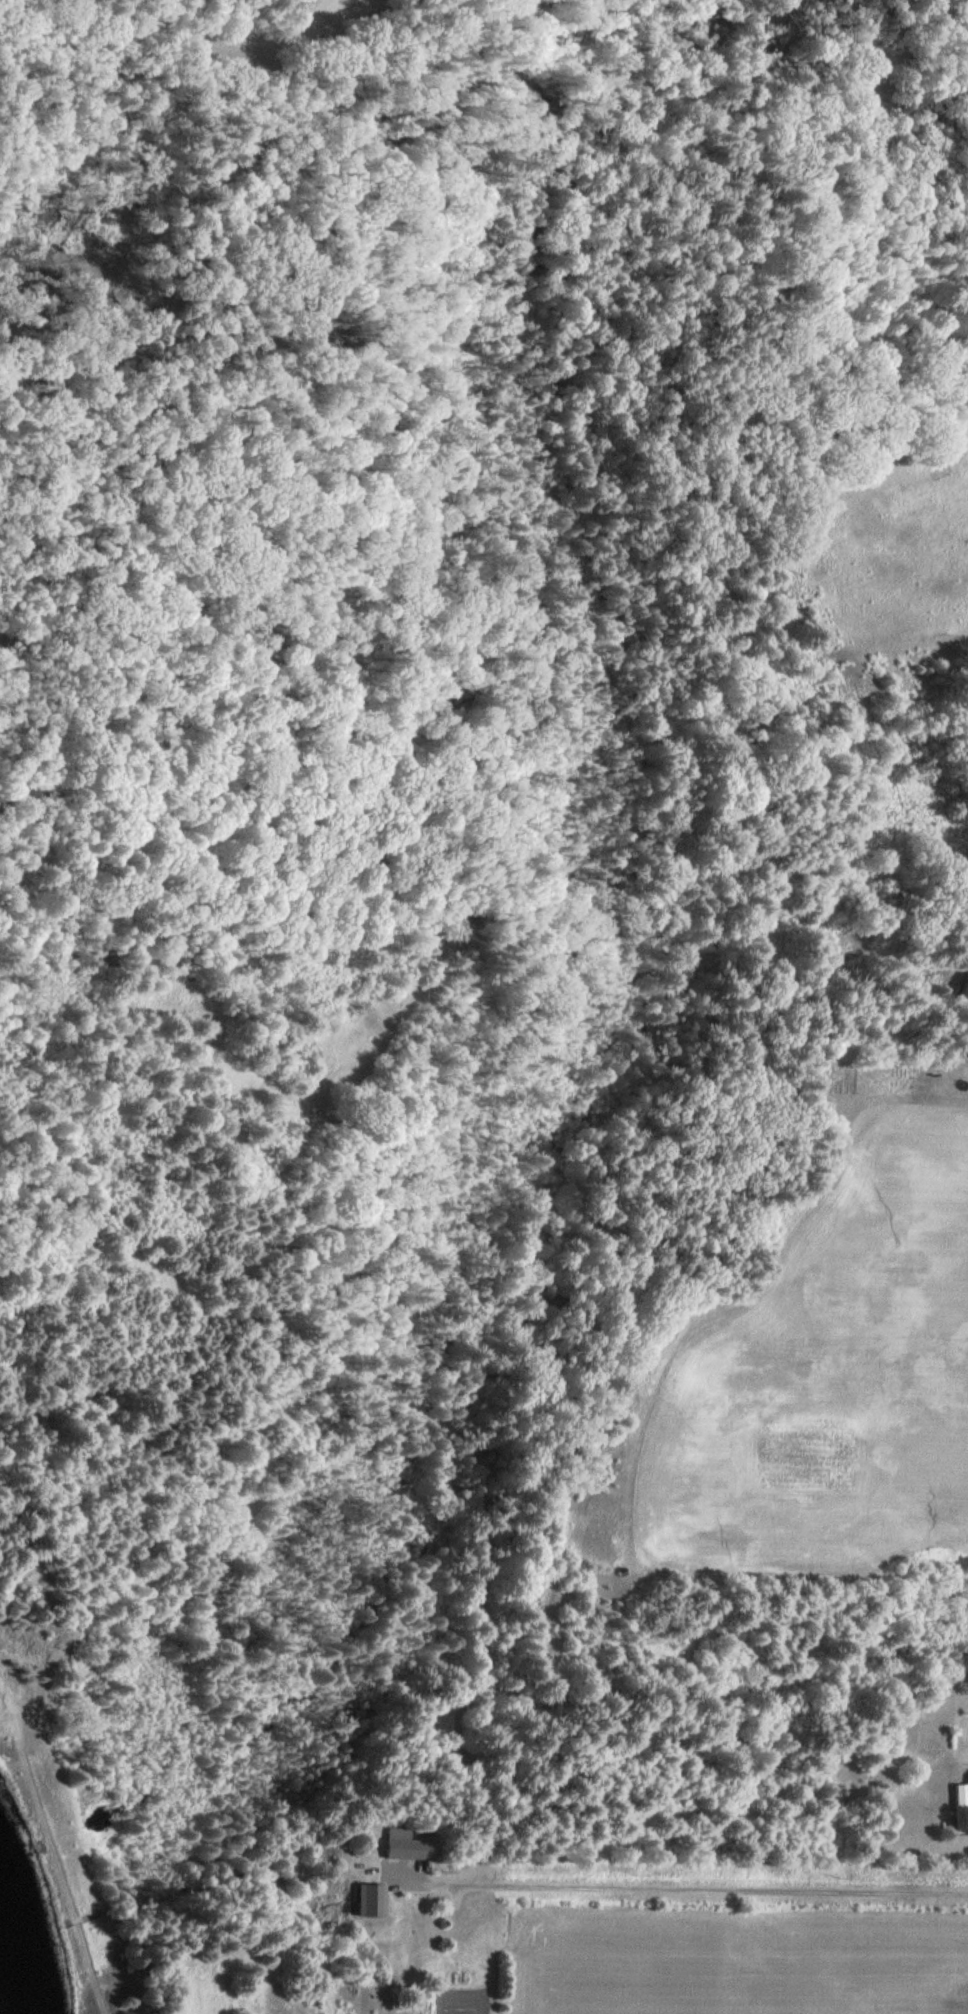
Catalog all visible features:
road: (851, 104)
road: (946, 148)
building: (961, 988)
building: (960, 1805)
building: (399, 1842)
building: (365, 1898)

